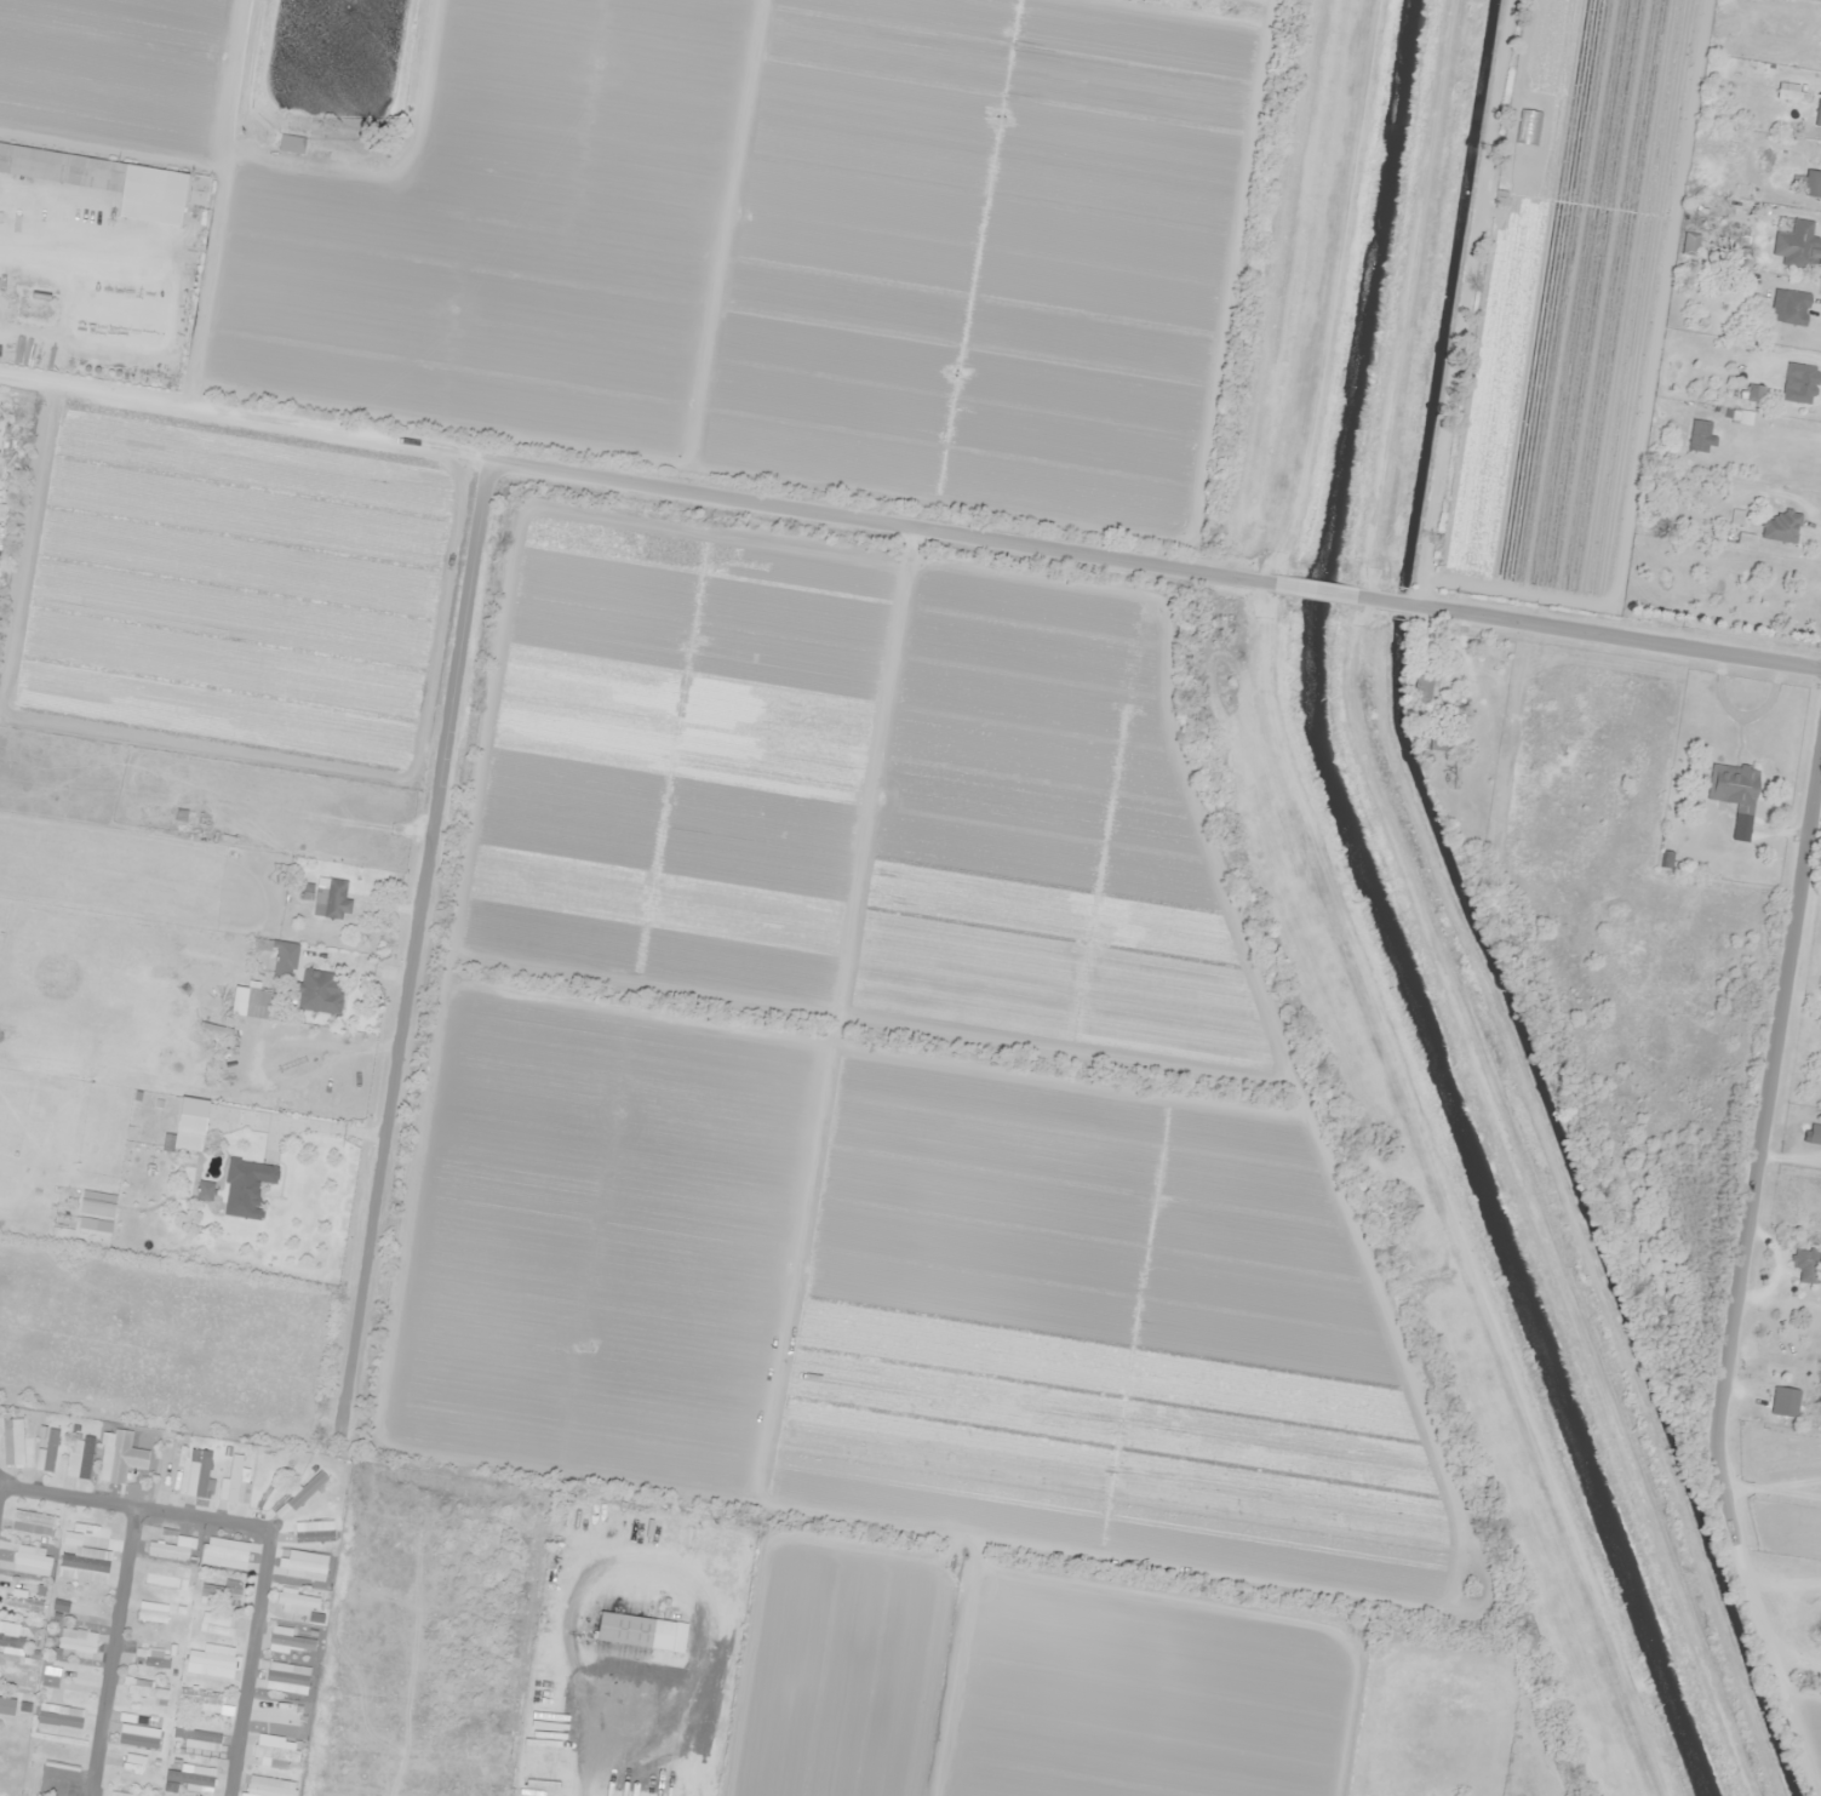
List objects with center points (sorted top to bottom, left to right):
building: (1820, 40)
building: (1787, 92)
building: (292, 143)
building: (107, 181)
building: (1800, 181)
building: (199, 190)
building: (1688, 244)
building: (1797, 245)
building: (1792, 307)
building: (1800, 382)
building: (1699, 435)
road: (405, 447)
road: (893, 522)
building: (1777, 526)
road: (1313, 585)
road: (1588, 629)
building: (1441, 740)
road: (500, 780)
building: (1733, 785)
building: (332, 900)
building: (277, 950)
building: (319, 991)
building: (257, 1002)
building: (1813, 1134)
building: (246, 1188)
building: (205, 1191)
road: (1743, 1196)
building: (1804, 1265)
building: (1783, 1400)
building: (13, 1442)
building: (47, 1452)
building: (120, 1455)
building: (79, 1458)
building: (172, 1464)
building: (200, 1472)
building: (233, 1477)
road: (68, 1494)
building: (302, 1495)
building: (34, 1523)
building: (314, 1528)
building: (90, 1537)
building: (167, 1550)
building: (224, 1552)
building: (33, 1561)
building: (307, 1565)
building: (84, 1568)
building: (161, 1580)
building: (223, 1591)
road: (253, 1596)
building: (298, 1602)
building: (23, 1603)
building: (153, 1613)
building: (216, 1619)
building: (254, 1623)
building: (626, 1629)
building: (78, 1640)
building: (290, 1641)
building: (11, 1645)
road: (111, 1651)
building: (149, 1654)
building: (210, 1664)
building: (17, 1674)
building: (286, 1678)
building: (51, 1681)
building: (148, 1691)
building: (205, 1701)
building: (7, 1706)
building: (287, 1715)
building: (61, 1716)
building: (139, 1735)
building: (199, 1738)
building: (276, 1752)
building: (190, 1777)
building: (271, 1786)
building: (121, 1794)

